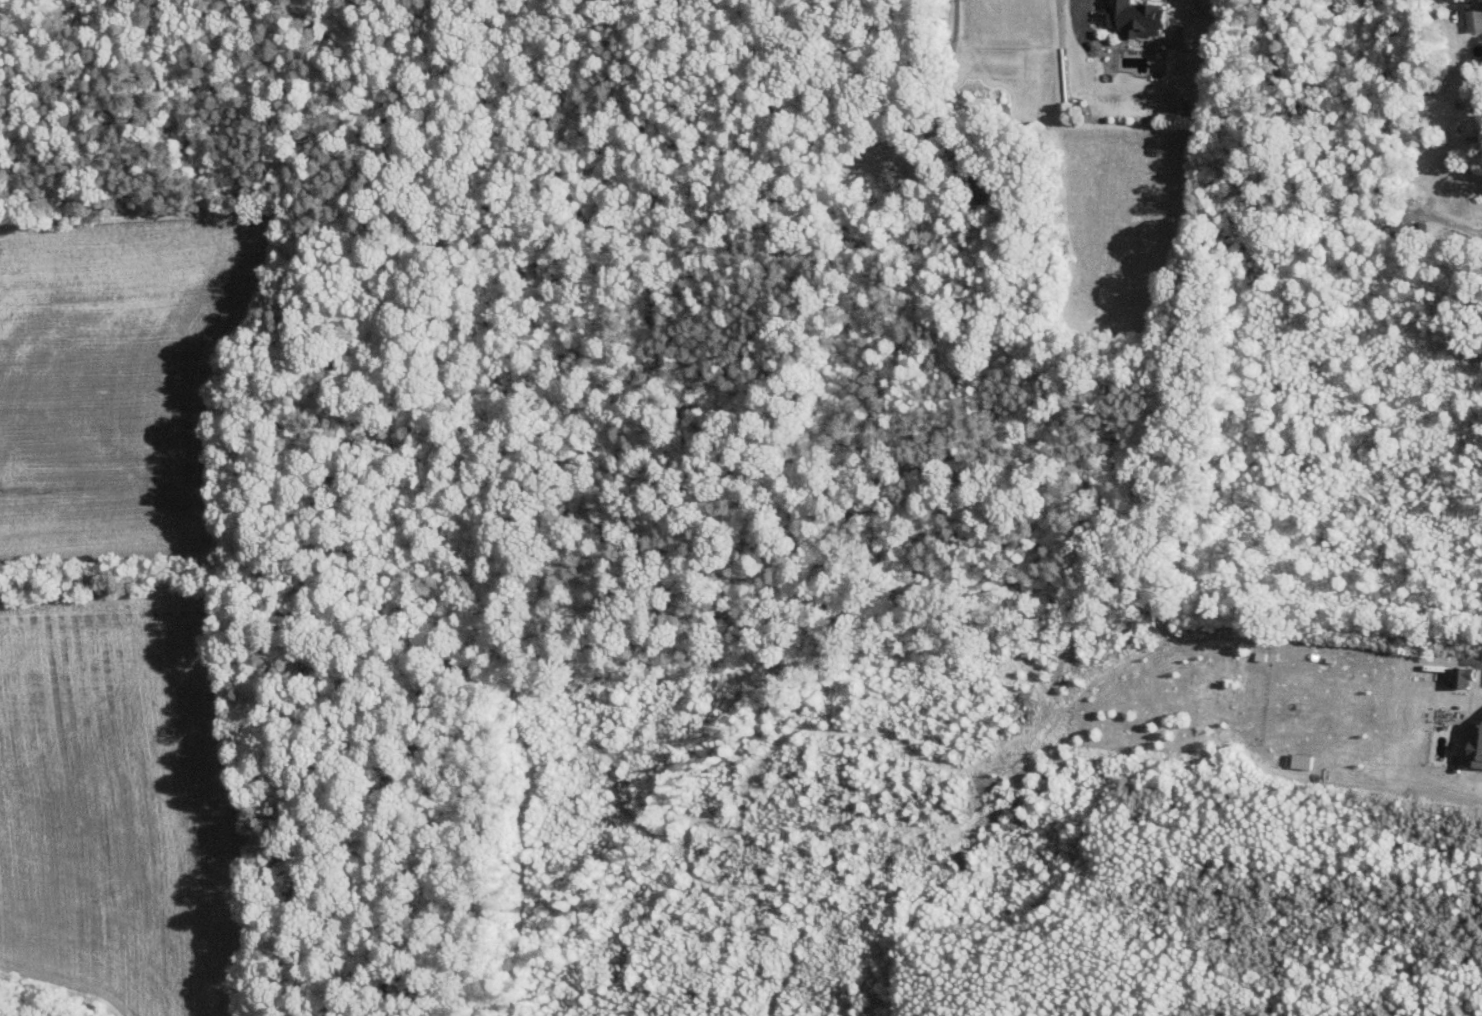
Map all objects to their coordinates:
building: (1479, 0)
road: (1077, 9)
building: (1132, 17)
building: (1472, 17)
road: (1469, 228)
building: (1399, 229)
building: (1460, 676)
building: (1472, 744)

